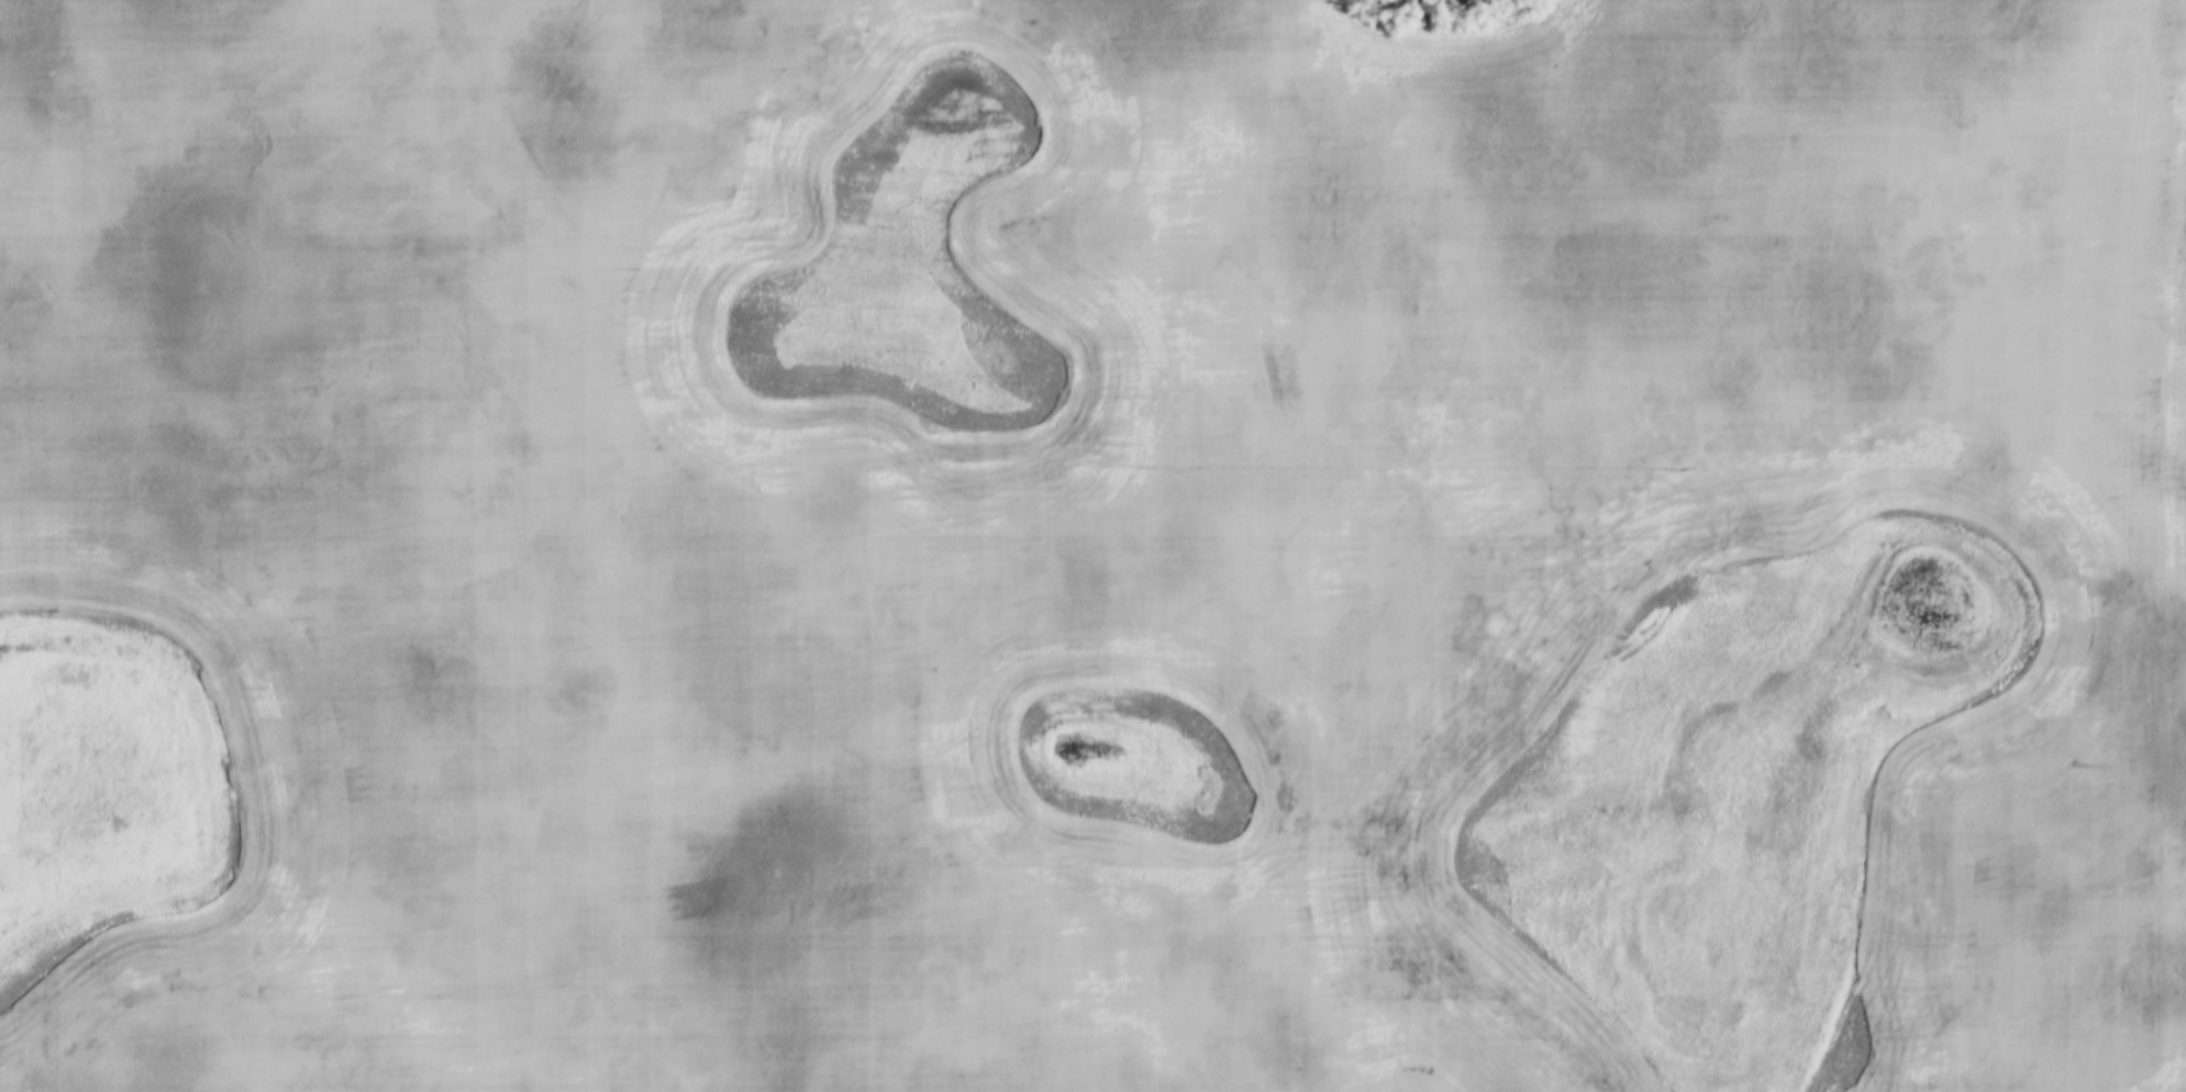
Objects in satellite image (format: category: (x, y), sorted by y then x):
building: (1933, 10)

